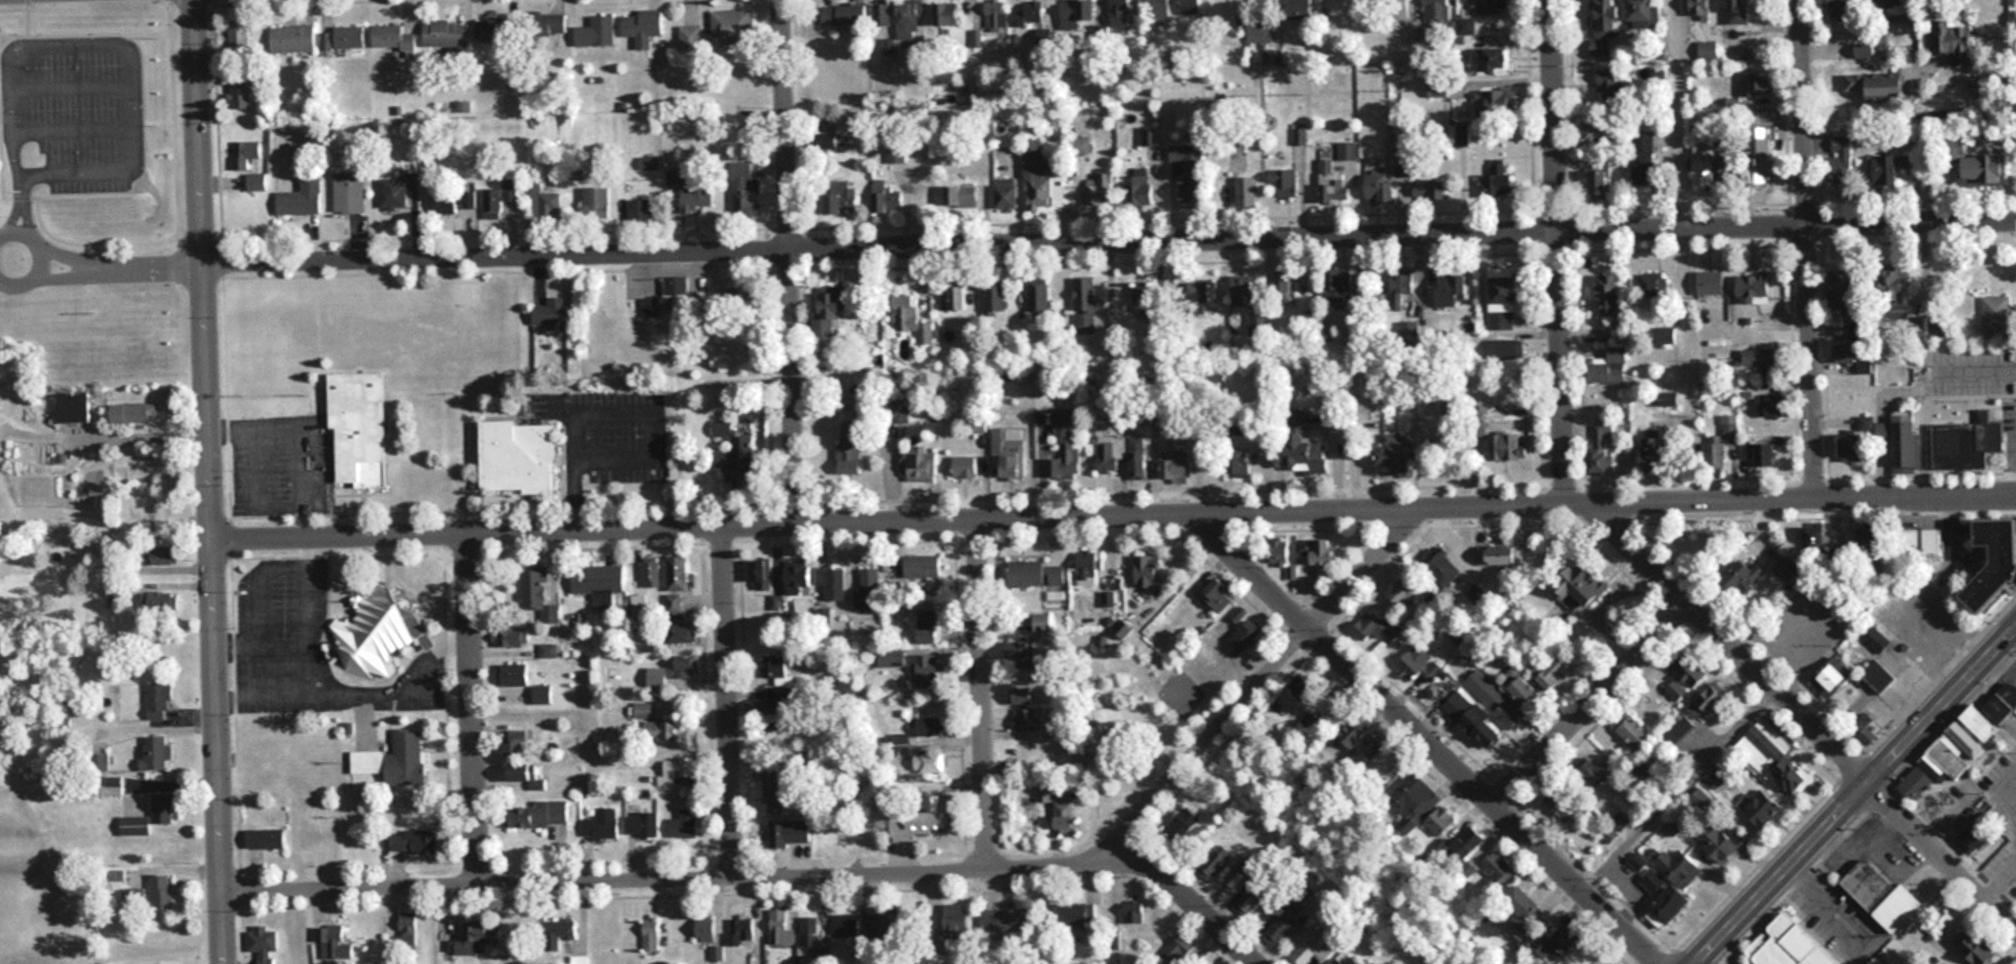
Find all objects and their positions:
building: (1835, 2)
building: (1892, 2)
building: (1494, 6)
building: (1190, 7)
building: (1157, 9)
building: (1700, 9)
building: (1300, 10)
building: (1642, 12)
building: (1738, 12)
building: (1121, 13)
building: (1229, 13)
building: (1437, 13)
building: (881, 14)
building: (995, 14)
building: (1034, 14)
building: (1079, 14)
building: (1842, 14)
building: (843, 15)
building: (947, 17)
building: (909, 19)
building: (549, 25)
building: (1605, 26)
building: (642, 27)
building: (1465, 27)
building: (498, 30)
building: (596, 33)
building: (720, 33)
building: (447, 34)
building: (238, 38)
building: (343, 38)
building: (393, 38)
building: (293, 39)
building: (1953, 39)
road: (97, 41)
building: (1707, 48)
building: (1864, 51)
building: (1490, 60)
building: (1855, 82)
building: (1758, 84)
building: (1612, 85)
building: (1887, 88)
building: (241, 96)
building: (1496, 104)
road: (1678, 115)
building: (1601, 125)
building: (736, 140)
building: (833, 142)
building: (1080, 145)
building: (245, 154)
building: (1760, 155)
building: (1643, 158)
building: (1840, 159)
building: (650, 163)
building: (1702, 163)
building: (1886, 168)
building: (1730, 169)
building: (1986, 169)
building: (1190, 171)
building: (1501, 179)
building: (1041, 180)
building: (257, 182)
building: (1600, 182)
building: (1138, 187)
building: (1284, 187)
building: (1379, 187)
building: (1430, 187)
building: (1334, 188)
building: (1100, 189)
building: (745, 191)
building: (396, 192)
building: (1245, 192)
building: (349, 193)
building: (1005, 193)
building: (886, 197)
building: (697, 198)
building: (962, 198)
building: (301, 199)
building: (498, 199)
building: (841, 199)
building: (597, 205)
building: (454, 206)
building: (553, 206)
building: (639, 209)
road: (1109, 244)
road: (1809, 250)
road: (1557, 253)
road: (37, 258)
road: (790, 261)
road: (119, 268)
road: (203, 270)
building: (1898, 274)
building: (1653, 283)
building: (1710, 283)
building: (1341, 284)
building: (1402, 288)
building: (1451, 289)
building: (1755, 289)
building: (1283, 290)
building: (1210, 291)
building: (1242, 291)
building: (1842, 291)
building: (1610, 294)
building: (954, 295)
building: (995, 296)
building: (744, 297)
building: (1038, 297)
building: (1145, 299)
building: (1503, 301)
building: (1085, 305)
building: (829, 309)
building: (552, 314)
building: (1996, 314)
building: (911, 320)
building: (1937, 328)
building: (1669, 335)
building: (1507, 349)
building: (1851, 355)
building: (1755, 357)
building: (1609, 366)
road: (1686, 366)
building: (1510, 393)
building: (1773, 405)
building: (70, 407)
building: (899, 409)
building: (1492, 411)
building: (134, 413)
building: (359, 426)
building: (1859, 442)
building: (1966, 442)
building: (1721, 443)
building: (1905, 443)
building: (1064, 444)
building: (1305, 446)
building: (1506, 446)
building: (849, 447)
building: (1600, 447)
building: (1394, 450)
building: (731, 451)
building: (1008, 452)
building: (1110, 453)
building: (1656, 453)
building: (1760, 453)
building: (517, 457)
building: (1137, 458)
building: (920, 463)
building: (965, 466)
building: (1177, 468)
building: (169, 509)
road: (1115, 517)
building: (1867, 535)
building: (1816, 540)
building: (1934, 540)
building: (1321, 550)
building: (1277, 552)
building: (163, 554)
building: (1501, 554)
building: (1441, 563)
building: (1996, 563)
building: (922, 566)
building: (1088, 567)
building: (1784, 569)
building: (1147, 571)
building: (650, 572)
building: (678, 573)
building: (763, 574)
building: (1036, 574)
building: (1745, 574)
building: (799, 578)
building: (599, 581)
building: (831, 581)
building: (1582, 584)
building: (535, 586)
building: (1217, 589)
building: (868, 590)
building: (1402, 591)
building: (1108, 599)
building: (162, 601)
building: (674, 604)
building: (1942, 619)
building: (1376, 625)
building: (927, 627)
building: (681, 632)
building: (372, 636)
building: (1247, 636)
building: (1872, 636)
building: (509, 637)
road: (1731, 645)
building: (547, 650)
building: (1021, 657)
building: (774, 665)
building: (1416, 667)
building: (925, 669)
building: (1551, 670)
building: (671, 672)
building: (513, 674)
building: (1878, 675)
building: (1685, 677)
building: (1829, 679)
building: (1301, 684)
road: (1261, 688)
building: (1526, 692)
building: (1488, 693)
building: (542, 694)
building: (1023, 695)
road: (981, 696)
building: (158, 701)
building: (1707, 701)
road: (732, 702)
building: (764, 706)
road: (1593, 707)
building: (642, 710)
road: (473, 711)
building: (1027, 719)
building: (1471, 719)
building: (1980, 722)
building: (1863, 726)
building: (928, 727)
building: (1678, 728)
building: (660, 730)
building: (1352, 732)
building: (1635, 734)
building: (1770, 740)
road: (1425, 742)
building: (513, 743)
road: (220, 751)
building: (155, 752)
building: (1953, 752)
building: (395, 759)
building: (1383, 761)
building: (925, 763)
building: (1598, 767)
building: (678, 768)
building: (527, 775)
building: (1793, 776)
building: (1916, 782)
building: (111, 788)
building: (771, 789)
road: (1858, 795)
building: (1413, 800)
building: (1562, 807)
building: (1761, 807)
building: (1058, 811)
building: (538, 814)
building: (151, 815)
building: (920, 818)
building: (1441, 821)
building: (600, 823)
building: (684, 823)
building: (641, 824)
building: (1182, 825)
building: (788, 832)
building: (266, 839)
building: (412, 842)
building: (1469, 842)
building: (1970, 842)
building: (1719, 844)
road: (1942, 858)
building: (1214, 862)
building: (1680, 867)
building: (1499, 871)
road: (759, 878)
building: (1654, 881)
building: (161, 892)
building: (1254, 893)
building: (1882, 895)
building: (133, 900)
building: (1671, 904)
building: (1520, 910)
building: (1134, 912)
building: (1073, 916)
building: (956, 919)
building: (1003, 920)
building: (845, 924)
building: (885, 927)
building: (705, 928)
building: (780, 928)
building: (407, 929)
building: (1280, 929)
building: (740, 930)
building: (808, 932)
building: (649, 933)
building: (558, 934)
building: (470, 940)
building: (333, 942)
building: (264, 943)
building: (1790, 945)
building: (1562, 946)
building: (1316, 947)
building: (1978, 949)
building: (1179, 953)
building: (1337, 961)
building: (1876, 961)

